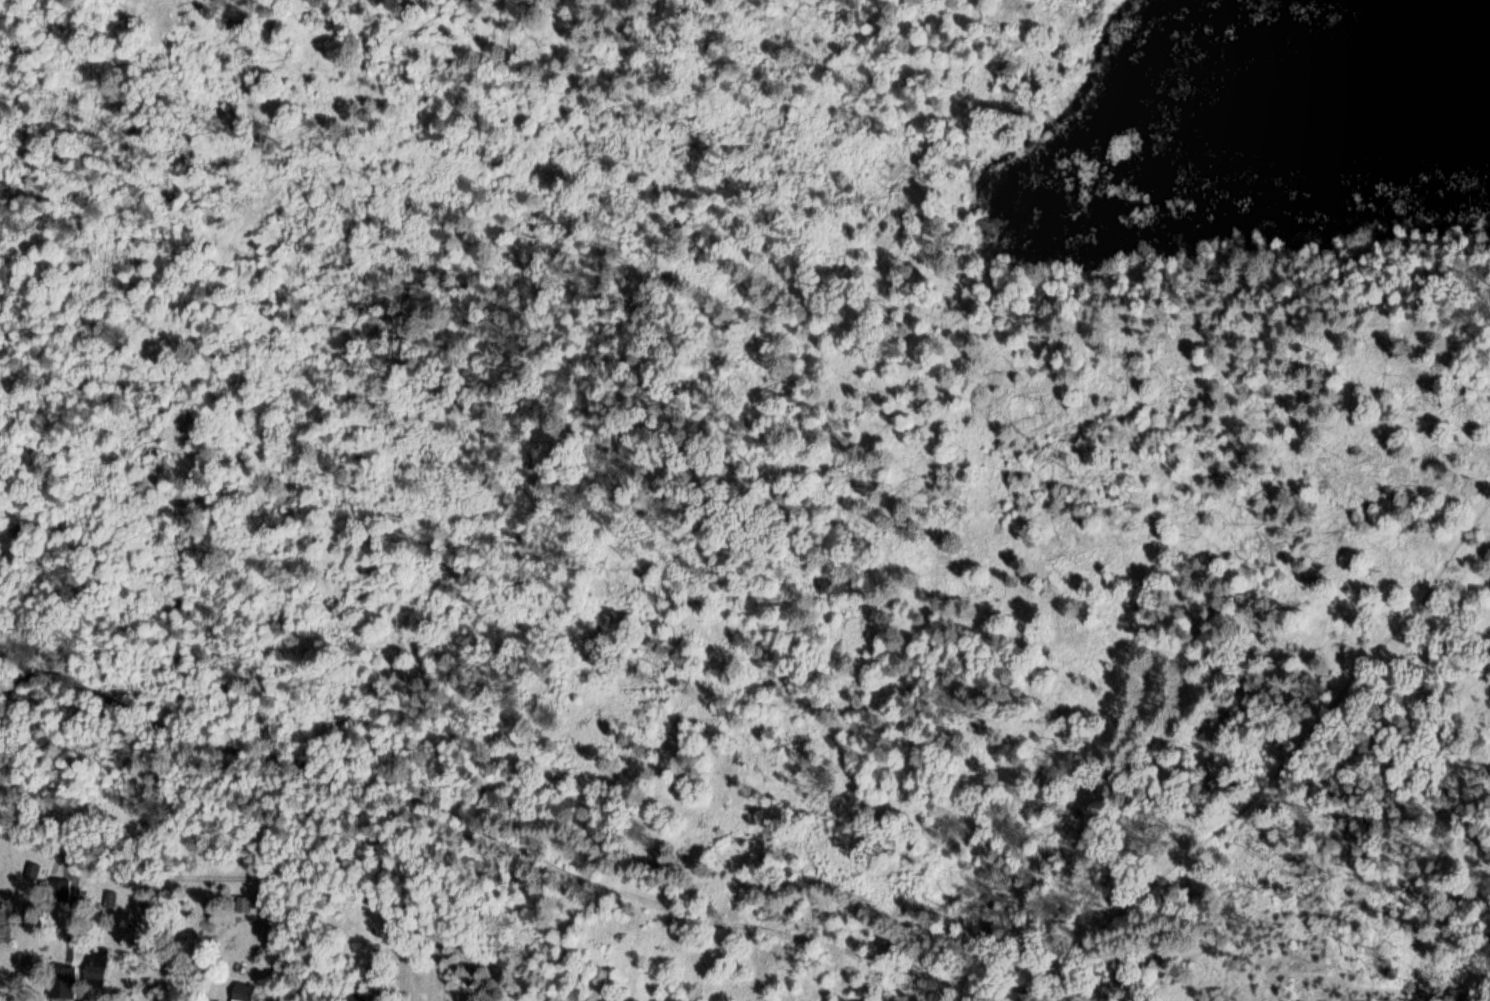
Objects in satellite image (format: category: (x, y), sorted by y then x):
road: (592, 797)
road: (264, 886)
building: (243, 904)
building: (5, 928)
building: (99, 955)
building: (64, 984)
building: (245, 1000)

